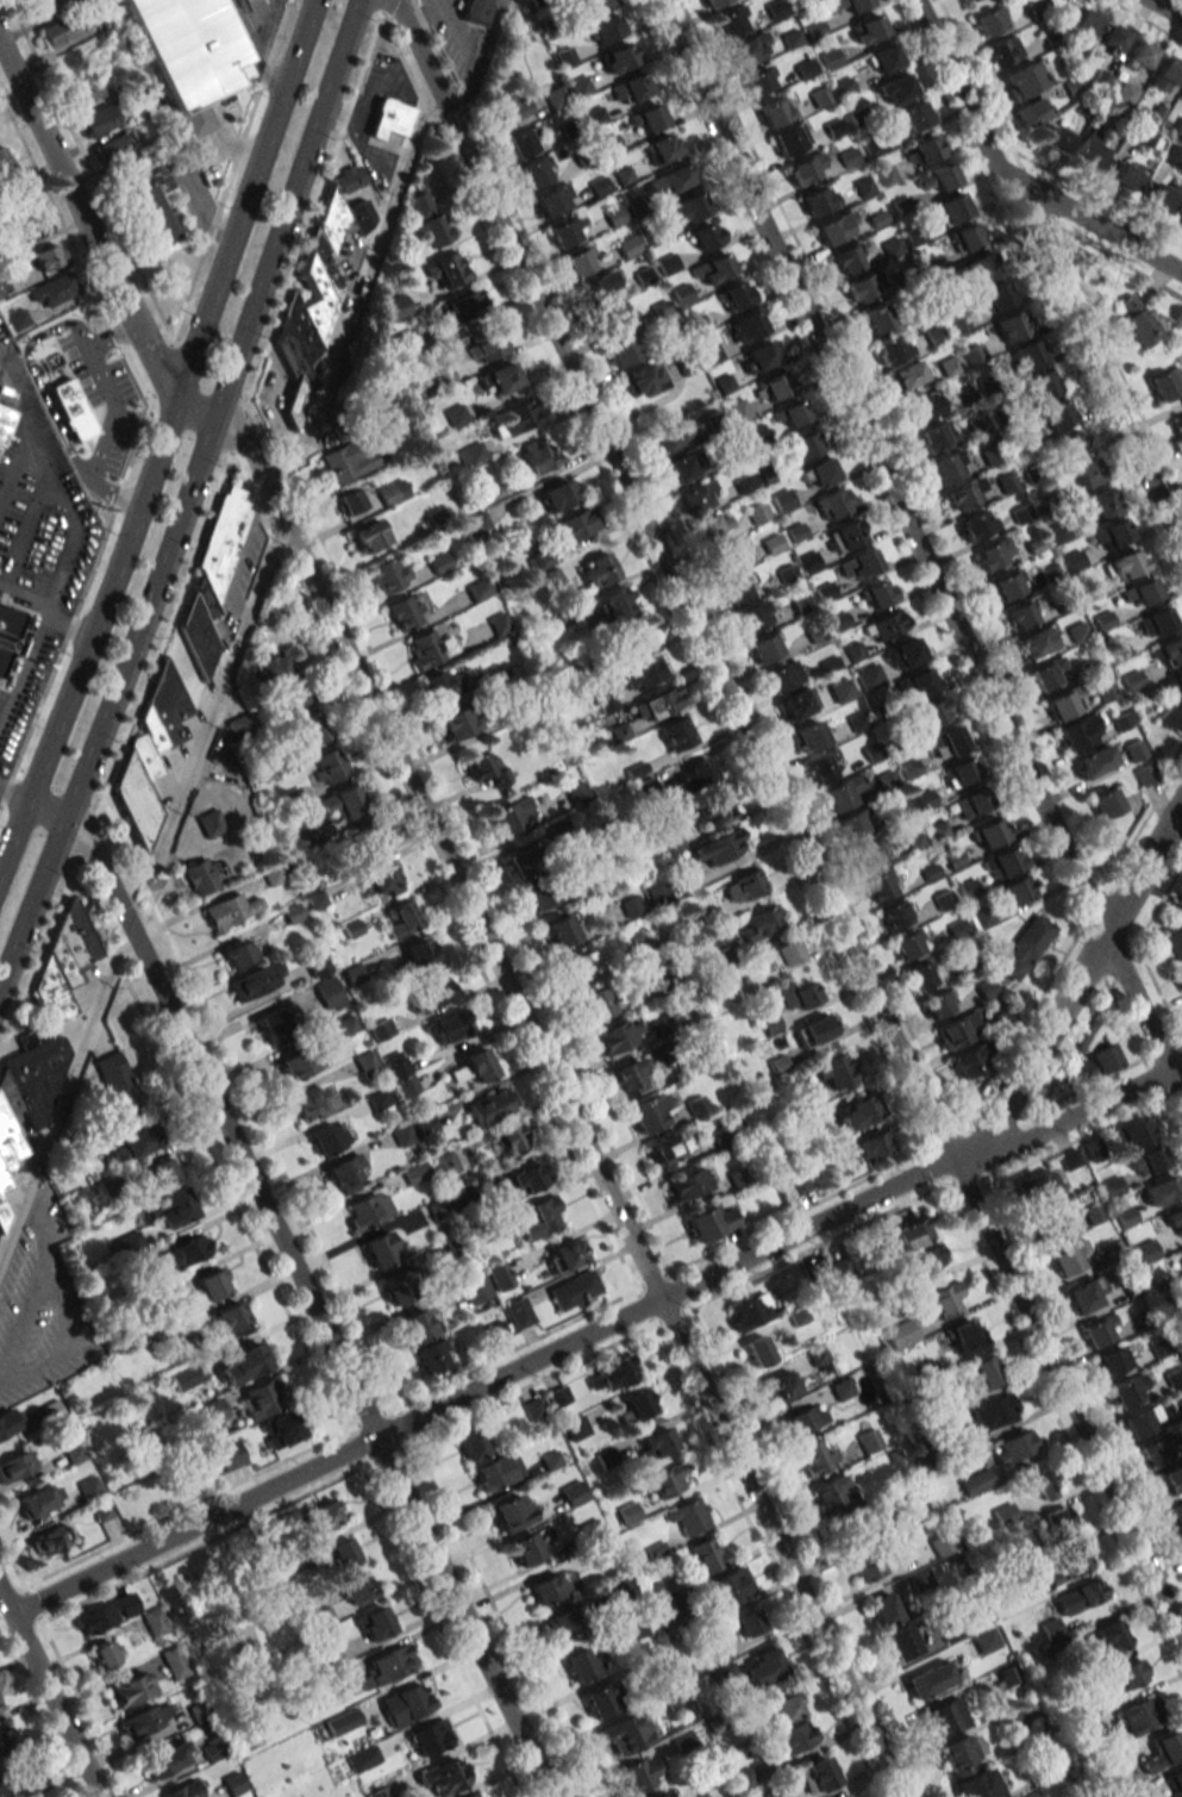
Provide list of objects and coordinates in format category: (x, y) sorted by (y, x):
building: (968, 0)
building: (712, 1)
building: (593, 4)
building: (850, 4)
road: (384, 6)
building: (43, 7)
road: (1163, 10)
building: (475, 11)
road: (423, 14)
building: (989, 20)
building: (732, 21)
road: (458, 26)
building: (1083, 26)
building: (606, 27)
building: (868, 29)
building: (57, 31)
building: (1112, 38)
building: (115, 39)
road: (436, 48)
road: (254, 49)
building: (748, 49)
building: (1005, 51)
building: (188, 52)
building: (565, 56)
building: (1140, 56)
building: (618, 57)
building: (883, 58)
road: (480, 62)
building: (1165, 74)
building: (1024, 79)
building: (759, 80)
building: (581, 86)
building: (632, 87)
building: (898, 88)
building: (83, 91)
building: (1125, 94)
building: (1181, 94)
building: (554, 96)
road: (464, 107)
building: (504, 108)
building: (775, 111)
building: (1033, 111)
building: (649, 117)
building: (913, 117)
building: (96, 120)
building: (389, 120)
building: (790, 139)
building: (1056, 139)
building: (521, 142)
building: (609, 144)
building: (112, 148)
building: (661, 148)
building: (925, 150)
building: (1088, 151)
building: (6, 164)
building: (807, 168)
building: (537, 171)
building: (1127, 175)
building: (938, 176)
building: (349, 177)
building: (670, 180)
road: (68, 182)
building: (1163, 195)
building: (19, 198)
building: (145, 199)
building: (554, 199)
building: (818, 199)
building: (688, 207)
building: (951, 208)
road: (313, 212)
building: (429, 219)
road: (1089, 221)
building: (1181, 224)
building: (834, 227)
building: (565, 230)
building: (706, 235)
building: (968, 236)
building: (628, 245)
building: (49, 256)
building: (848, 257)
building: (580, 261)
building: (980, 268)
building: (446, 269)
building: (712, 269)
park: (171, 273)
road: (1047, 274)
building: (598, 285)
building: (864, 286)
road: (357, 288)
building: (54, 289)
building: (733, 295)
building: (314, 297)
building: (997, 297)
building: (395, 306)
building: (461, 307)
building: (74, 317)
building: (876, 318)
building: (613, 319)
building: (1138, 322)
building: (957, 324)
building: (748, 326)
building: (1011, 326)
building: (406, 342)
building: (486, 347)
building: (890, 348)
building: (621, 350)
building: (1027, 354)
building: (758, 356)
building: (907, 375)
building: (499, 379)
building: (643, 379)
road: (164, 381)
building: (1039, 383)
building: (1167, 383)
building: (773, 386)
building: (70, 408)
building: (918, 408)
building: (456, 414)
building: (792, 414)
building: (1057, 414)
road: (113, 416)
building: (514, 418)
building: (4, 420)
building: (1177, 430)
road: (238, 432)
building: (671, 433)
building: (936, 436)
road: (163, 437)
building: (805, 443)
building: (1070, 444)
building: (470, 454)
building: (538, 455)
road: (13, 461)
building: (345, 463)
building: (682, 466)
building: (949, 466)
building: (1087, 472)
building: (819, 473)
building: (393, 492)
building: (965, 493)
road: (186, 494)
building: (556, 494)
building: (696, 495)
building: (782, 500)
building: (1103, 500)
building: (349, 501)
building: (832, 504)
building: (757, 513)
building: (712, 525)
building: (976, 525)
building: (1111, 534)
building: (368, 536)
building: (844, 536)
building: (223, 538)
road: (919, 543)
parking lot: (33, 551)
building: (993, 553)
road: (67, 556)
building: (726, 557)
building: (539, 560)
building: (439, 562)
building: (863, 562)
building: (1124, 564)
building: (598, 569)
building: (388, 573)
building: (550, 578)
road: (675, 581)
road: (655, 582)
building: (1007, 585)
building: (738, 588)
building: (479, 589)
building: (1142, 591)
building: (876, 593)
building: (204, 595)
road: (25, 597)
building: (617, 603)
building: (405, 611)
building: (1020, 616)
building: (749, 618)
building: (1156, 622)
road: (70, 625)
road: (715, 625)
building: (884, 625)
building: (8, 632)
building: (196, 634)
road: (163, 636)
building: (634, 638)
building: (1036, 642)
building: (429, 648)
building: (764, 648)
building: (1169, 650)
building: (902, 654)
building: (1045, 673)
building: (642, 674)
building: (783, 675)
building: (868, 676)
building: (283, 682)
building: (919, 682)
building: (442, 686)
building: (840, 691)
building: (1171, 697)
building: (605, 701)
building: (1064, 701)
building: (658, 703)
building: (796, 703)
building: (168, 704)
building: (933, 711)
road: (209, 713)
building: (458, 722)
building: (242, 724)
building: (312, 728)
building: (151, 729)
building: (1082, 731)
building: (676, 734)
building: (808, 736)
building: (946, 742)
building: (145, 755)
building: (1094, 761)
building: (329, 766)
building: (487, 768)
building: (825, 768)
building: (961, 772)
building: (1143, 775)
building: (693, 778)
building: (577, 793)
building: (839, 793)
road: (13, 795)
building: (137, 799)
building: (1109, 800)
building: (343, 803)
building: (969, 804)
building: (712, 811)
building: (512, 813)
building: (211, 823)
building: (851, 824)
building: (988, 834)
building: (306, 836)
building: (367, 837)
road: (86, 840)
road: (462, 840)
building: (914, 840)
building: (719, 847)
building: (867, 851)
building: (1003, 862)
building: (523, 865)
building: (202, 875)
building: (274, 875)
building: (380, 879)
building: (880, 885)
building: (743, 886)
building: (1018, 890)
building: (539, 896)
road: (1094, 905)
building: (631, 906)
building: (232, 911)
building: (893, 915)
building: (401, 919)
building: (759, 924)
building: (558, 930)
building: (77, 936)
building: (1172, 940)
building: (908, 944)
building: (250, 947)
building: (1025, 947)
building: (420, 950)
building: (781, 954)
road: (38, 960)
building: (63, 963)
building: (579, 966)
building: (1178, 974)
building: (921, 975)
building: (256, 980)
road: (1072, 986)
building: (744, 988)
building: (329, 992)
building: (798, 992)
building: (52, 993)
building: (430, 993)
building: (596, 1003)
building: (936, 1004)
building: (273, 1022)
building: (769, 1023)
road: (1024, 1025)
building: (449, 1027)
building: (662, 1029)
building: (959, 1029)
building: (813, 1031)
building: (618, 1034)
building: (302, 1061)
building: (967, 1061)
building: (1096, 1062)
building: (474, 1066)
building: (834, 1072)
building: (37, 1077)
building: (628, 1078)
building: (118, 1081)
road: (63, 1092)
building: (8, 1093)
road: (565, 1100)
building: (314, 1102)
road: (251, 1105)
building: (492, 1105)
building: (857, 1111)
building: (649, 1113)
road: (1067, 1113)
building: (11, 1133)
building: (1132, 1133)
building: (402, 1135)
building: (331, 1137)
building: (508, 1137)
road: (946, 1137)
building: (131, 1144)
building: (871, 1146)
building: (670, 1148)
road: (212, 1152)
building: (6, 1156)
building: (1069, 1159)
building: (1147, 1160)
building: (445, 1162)
building: (160, 1173)
building: (415, 1173)
building: (345, 1174)
building: (4, 1179)
building: (525, 1179)
building: (799, 1184)
building: (686, 1185)
building: (1037, 1186)
building: (1161, 1191)
building: (169, 1209)
building: (368, 1210)
road: (800, 1210)
building: (2, 1216)
building: (543, 1217)
building: (1049, 1221)
building: (709, 1222)
building: (1175, 1222)
building: (912, 1233)
building: (380, 1249)
building: (189, 1250)
building: (1181, 1254)
building: (564, 1255)
building: (930, 1258)
building: (1067, 1258)
building: (839, 1268)
building: (499, 1275)
road: (652, 1281)
road: (304, 1285)
building: (399, 1285)
building: (209, 1286)
building: (474, 1287)
building: (574, 1290)
building: (1086, 1293)
building: (945, 1299)
building: (748, 1311)
building: (518, 1312)
building: (800, 1314)
building: (229, 1319)
building: (418, 1324)
building: (496, 1330)
building: (1099, 1330)
building: (901, 1333)
building: (968, 1336)
building: (1161, 1348)
building: (761, 1349)
road: (509, 1350)
building: (432, 1356)
building: (1113, 1361)
building: (242, 1364)
building: (613, 1374)
building: (983, 1374)
road: (480, 1386)
building: (780, 1386)
building: (1130, 1390)
building: (558, 1396)
building: (261, 1398)
road: (1067, 1403)
building: (639, 1404)
building: (533, 1409)
building: (214, 1410)
building: (994, 1412)
road: (369, 1418)
building: (803, 1419)
building: (10, 1421)
building: (1142, 1421)
road: (406, 1423)
building: (283, 1428)
building: (575, 1428)
building: (868, 1441)
building: (473, 1443)
building: (653, 1445)
building: (1014, 1447)
road: (352, 1448)
building: (1156, 1449)
building: (224, 1456)
building: (815, 1456)
building: (15, 1466)
building: (498, 1471)
building: (182, 1473)
building: (665, 1480)
building: (976, 1481)
building: (1043, 1481)
building: (573, 1493)
building: (831, 1493)
building: (39, 1499)
road: (192, 1505)
building: (511, 1512)
building: (628, 1512)
building: (1175, 1512)
building: (324, 1515)
building: (686, 1518)
building: (1058, 1522)
building: (1181, 1536)
building: (50, 1540)
building: (942, 1545)
building: (524, 1548)
building: (343, 1552)
building: (707, 1554)
road: (12, 1560)
building: (1071, 1562)
building: (867, 1565)
building: (919, 1578)
building: (728, 1586)
building: (548, 1587)
building: (356, 1591)
building: (1081, 1595)
building: (883, 1609)
building: (663, 1611)
building: (107, 1614)
building: (155, 1621)
building: (564, 1621)
building: (748, 1622)
building: (374, 1623)
building: (1109, 1636)
building: (984, 1640)
building: (900, 1641)
building: (107, 1653)
building: (176, 1661)
building: (579, 1664)
building: (387, 1666)
building: (762, 1667)
building: (1125, 1677)
building: (930, 1679)
building: (130, 1687)
road: (50, 1693)
building: (600, 1699)
building: (405, 1704)
building: (1, 1706)
building: (783, 1709)
building: (945, 1716)
building: (1137, 1716)
building: (144, 1720)
building: (342, 1722)
building: (1087, 1727)
building: (625, 1734)
building: (429, 1737)
building: (793, 1737)
building: (7, 1742)
building: (214, 1747)
building: (1164, 1749)
building: (958, 1754)
building: (363, 1757)
building: (167, 1759)
building: (639, 1774)
building: (817, 1774)
building: (443, 1777)
building: (20, 1782)
building: (1174, 1784)
building: (975, 1785)
building: (186, 1790)
building: (658, 1793)
building: (775, 1793)
building: (471, 1795)
building: (1031, 1795)
building: (842, 1796)

